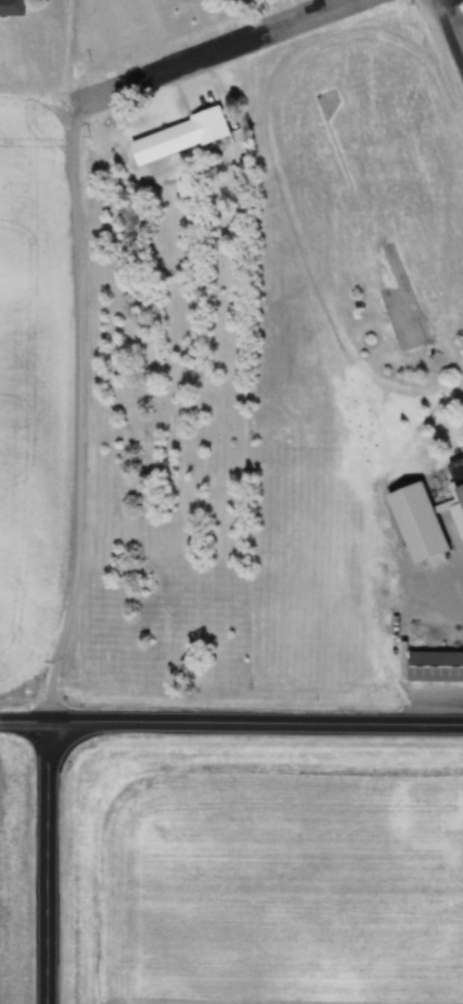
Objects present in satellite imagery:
building: (13, 7)
road: (455, 18)
road: (205, 62)
road: (48, 424)
building: (424, 516)
building: (438, 663)
road: (25, 723)
road: (256, 725)
road: (48, 863)

